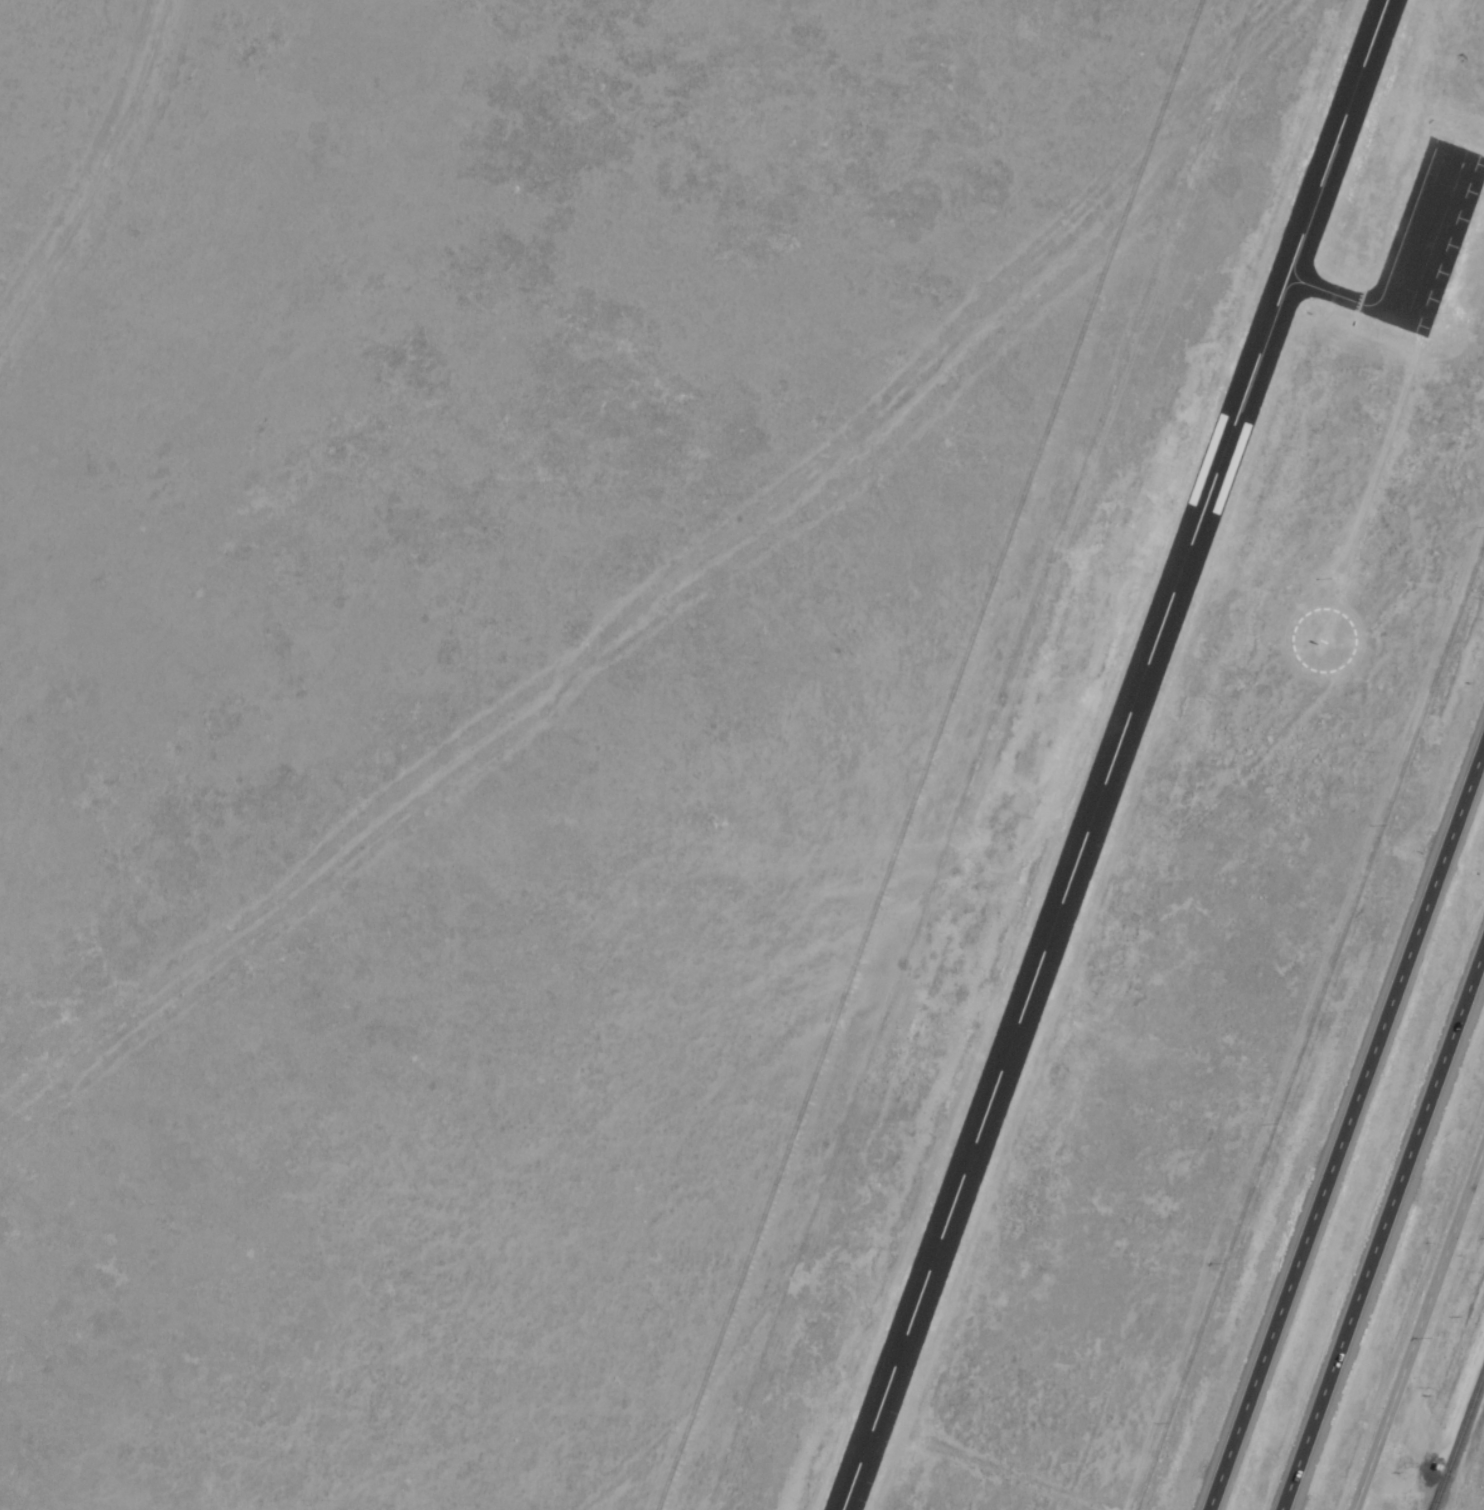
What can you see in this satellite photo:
airport apron: (1428, 237)
airport taxiway: (1328, 288)
airport runway: (1117, 755)
road: (1343, 1124)
road: (1385, 1234)
road: (1414, 1307)
railway: (1458, 1436)

